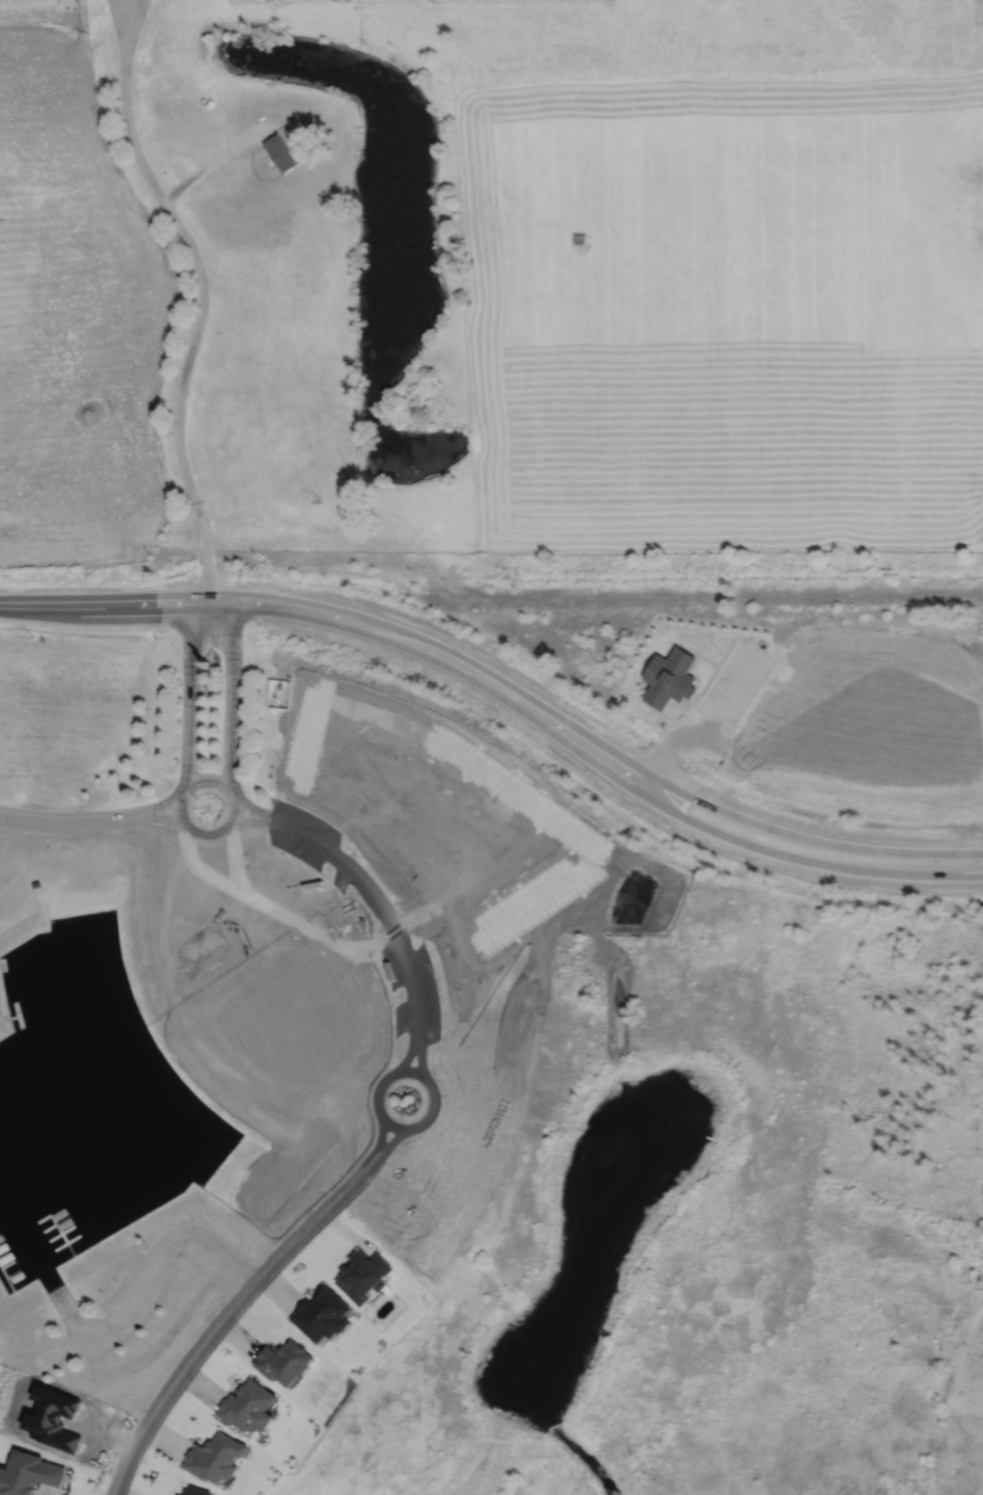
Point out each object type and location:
building: (208, 103)
building: (280, 152)
building: (308, 155)
road: (216, 160)
building: (580, 239)
road: (203, 294)
crop: (74, 316)
road: (279, 604)
building: (205, 664)
building: (670, 677)
parking lot: (736, 681)
road: (232, 692)
road: (190, 694)
road: (703, 732)
road: (206, 777)
road: (162, 804)
road: (252, 808)
road: (178, 810)
road: (235, 810)
road: (164, 818)
road: (251, 822)
road: (746, 822)
road: (70, 824)
road: (206, 836)
parking lot: (308, 840)
road: (740, 842)
road: (391, 922)
parking lot: (411, 985)
road: (399, 1072)
road: (209, 1238)
building: (363, 1274)
road: (243, 1301)
parking lot: (131, 1303)
road: (65, 1305)
road: (130, 1305)
road: (63, 1353)
building: (247, 1406)
building: (215, 1457)
building: (29, 1474)
building: (197, 1491)

